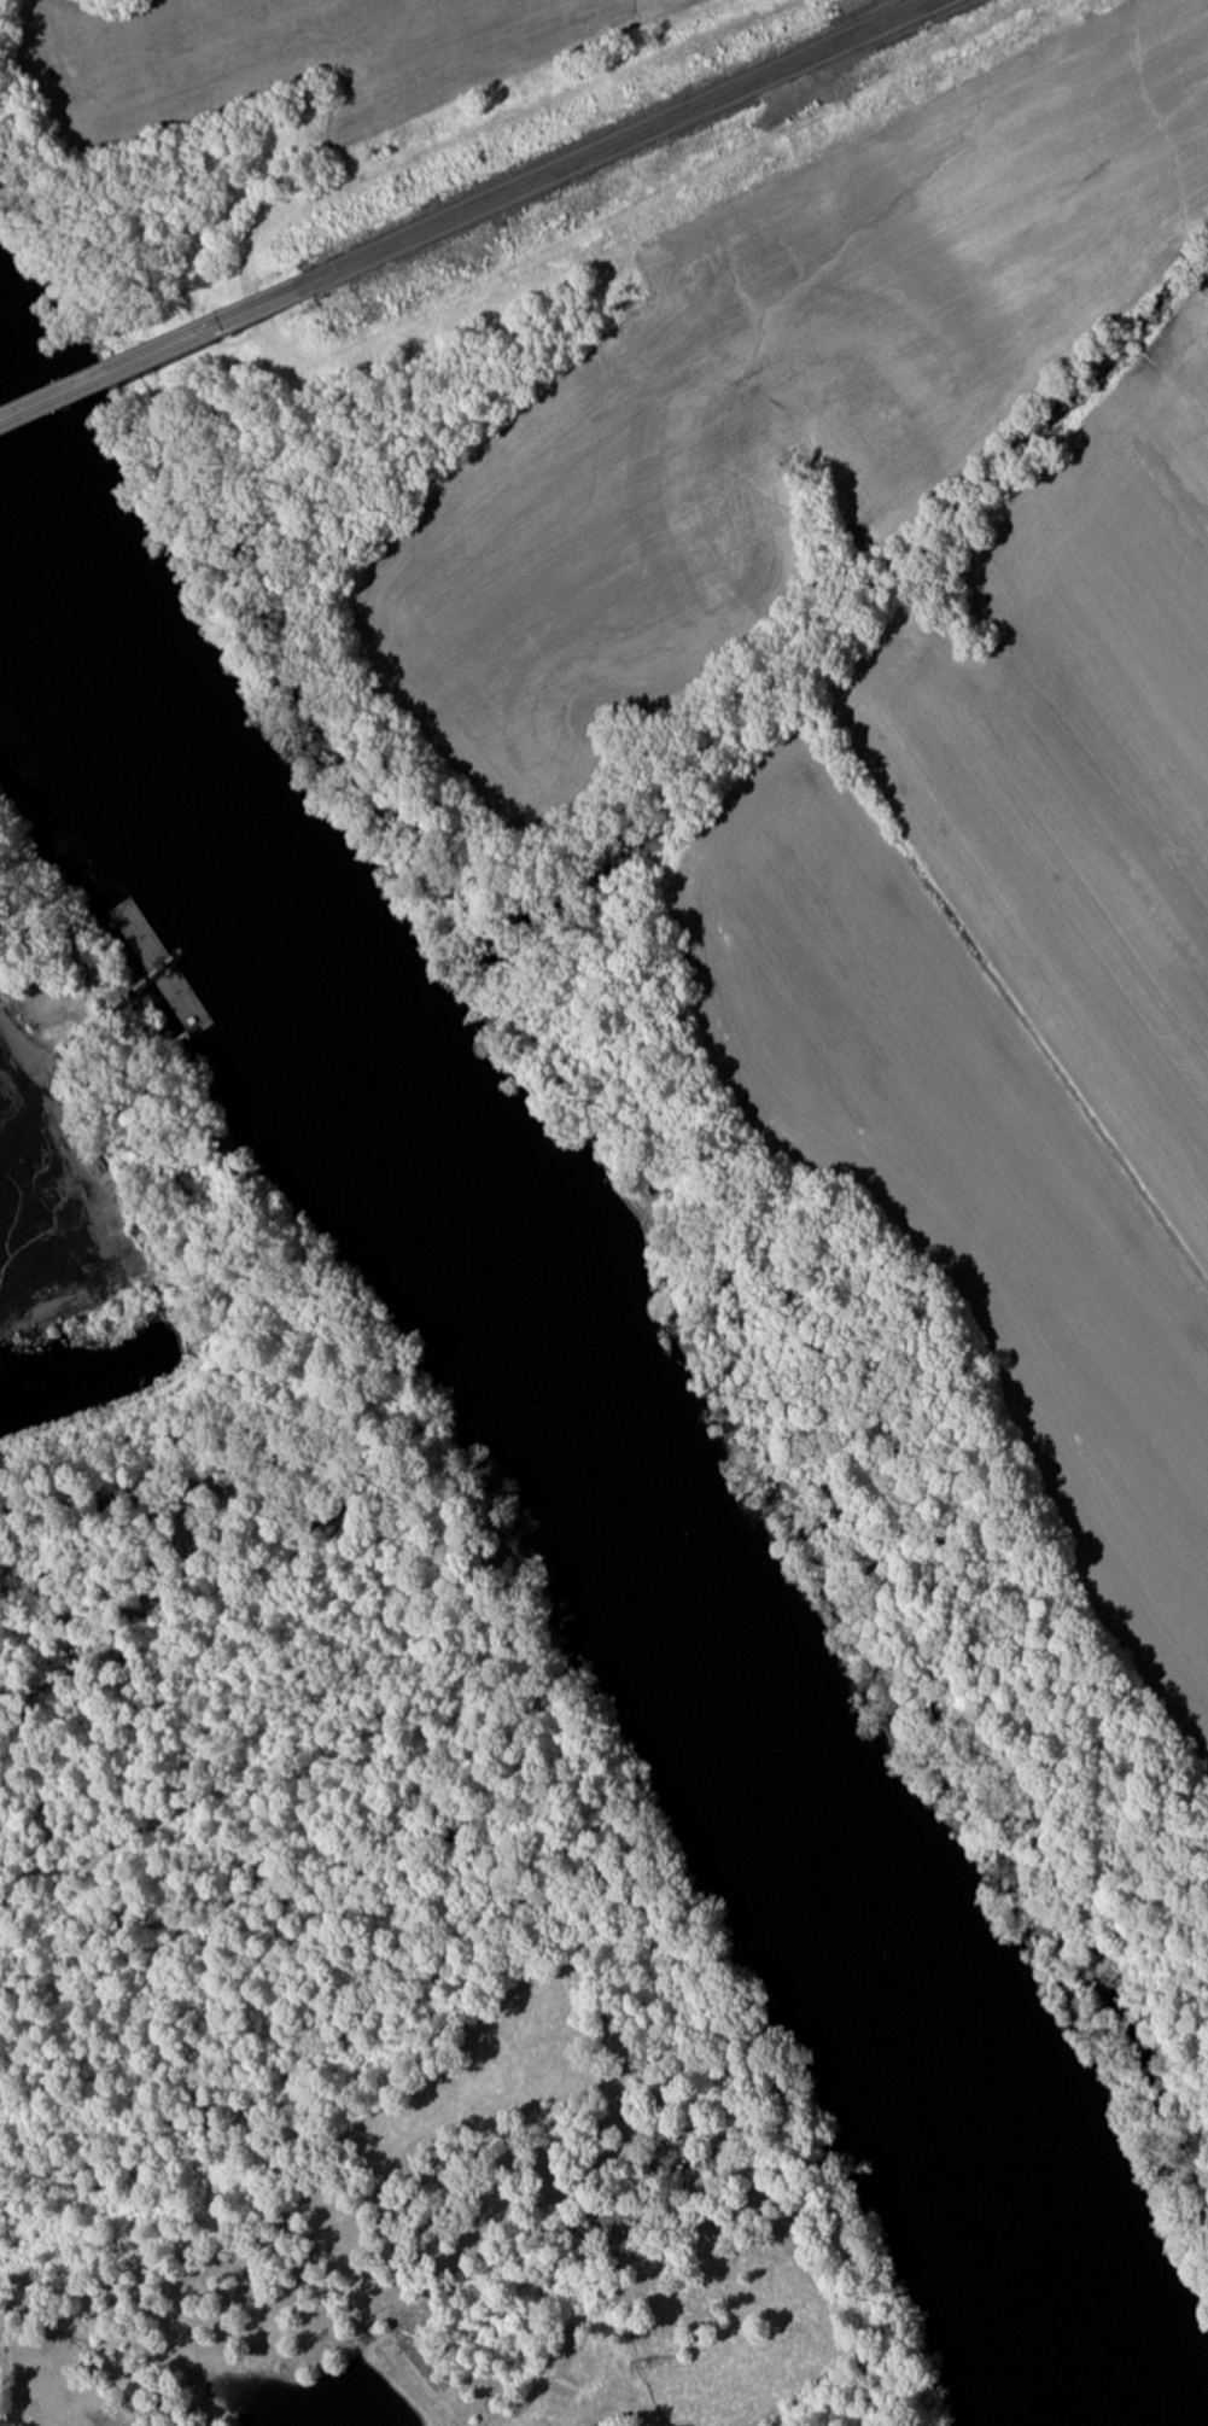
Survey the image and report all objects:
road: (618, 145)
road: (148, 360)
road: (23, 1038)
river: (570, 1440)

